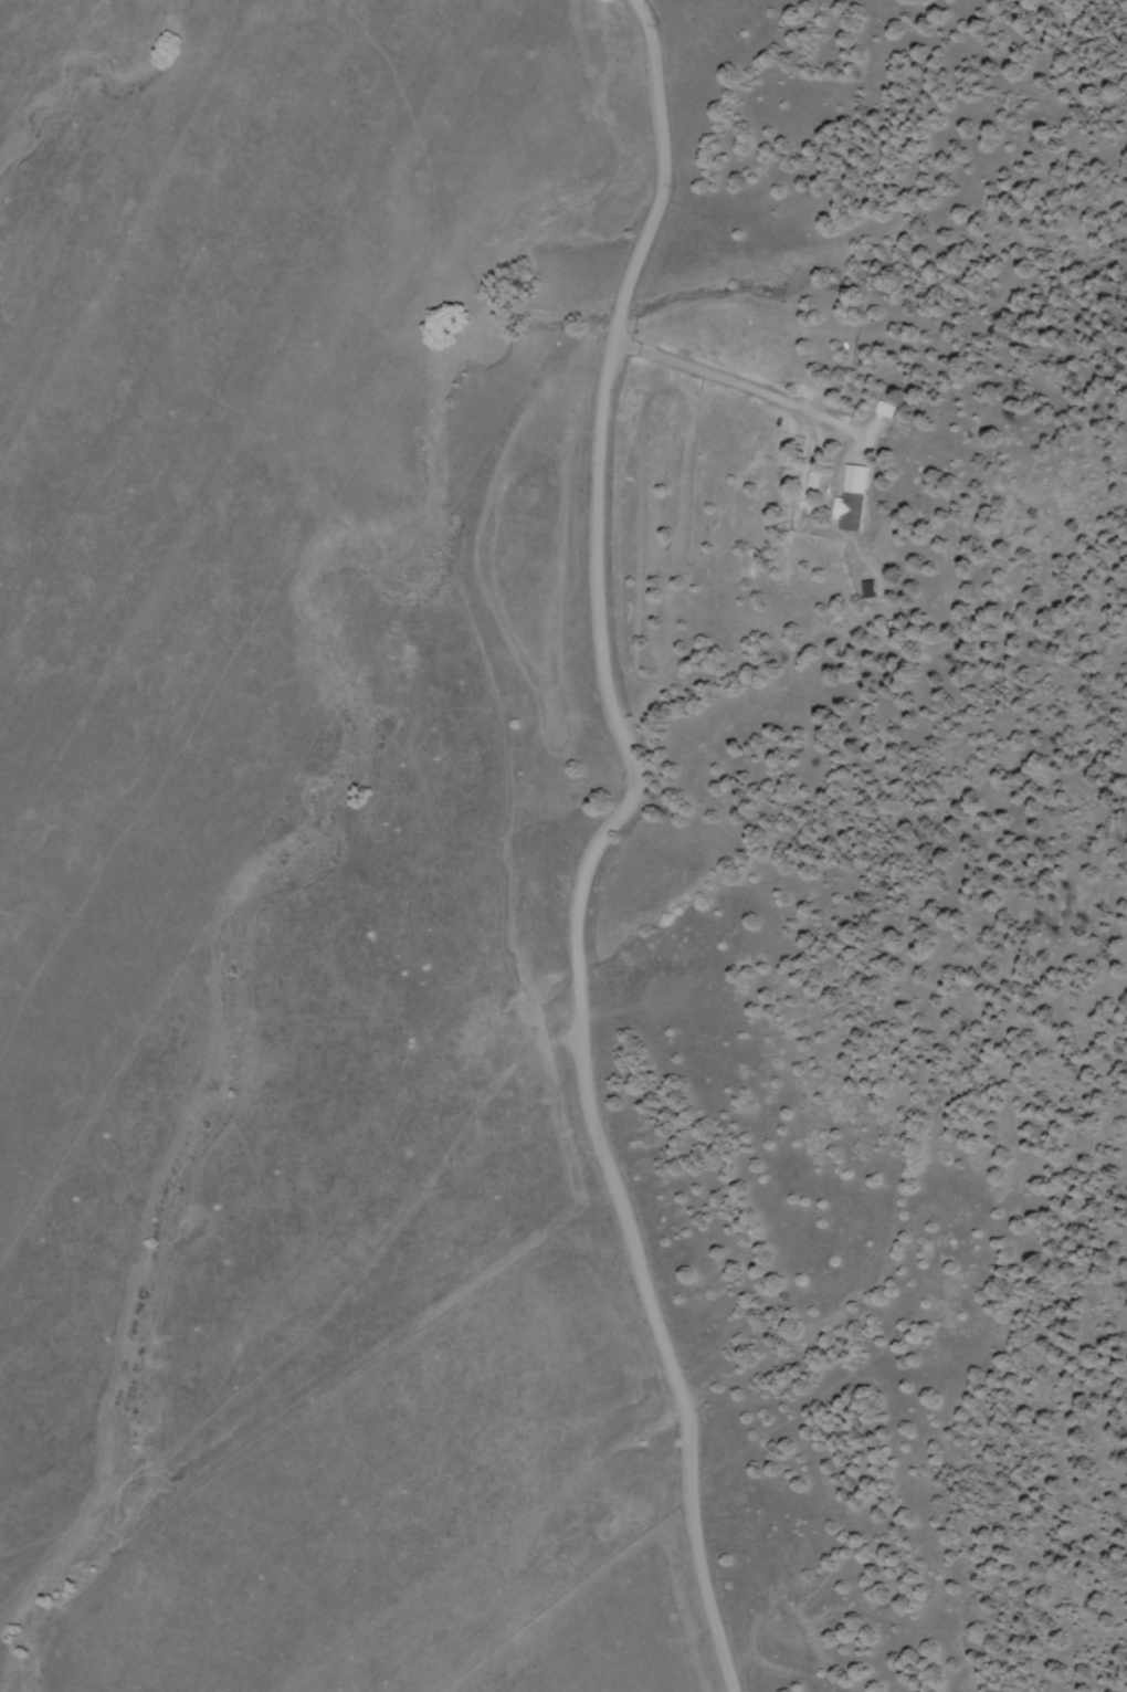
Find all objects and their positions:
building: (885, 409)
building: (852, 497)
building: (867, 589)
road: (873, 669)
road: (599, 853)

